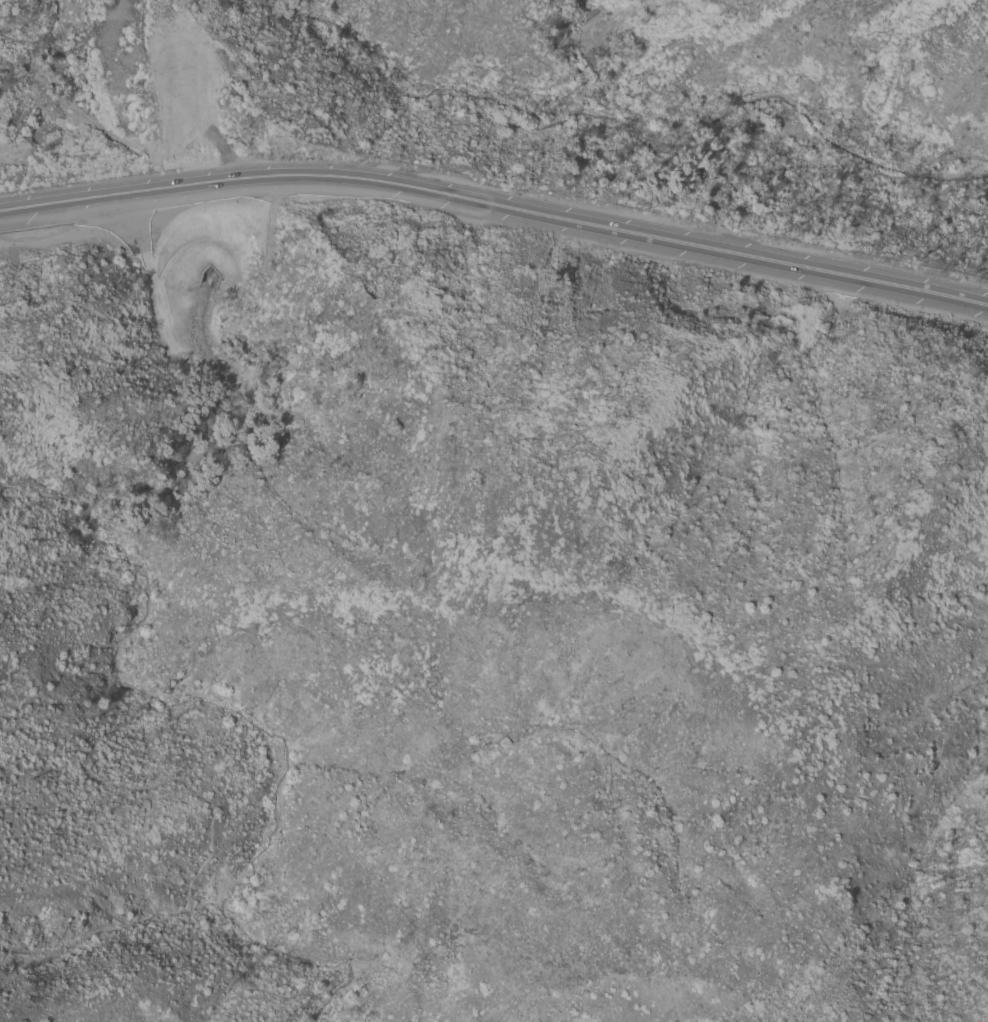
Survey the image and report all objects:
road: (496, 204)
parking lot: (157, 222)
road: (436, 475)
road: (211, 841)

